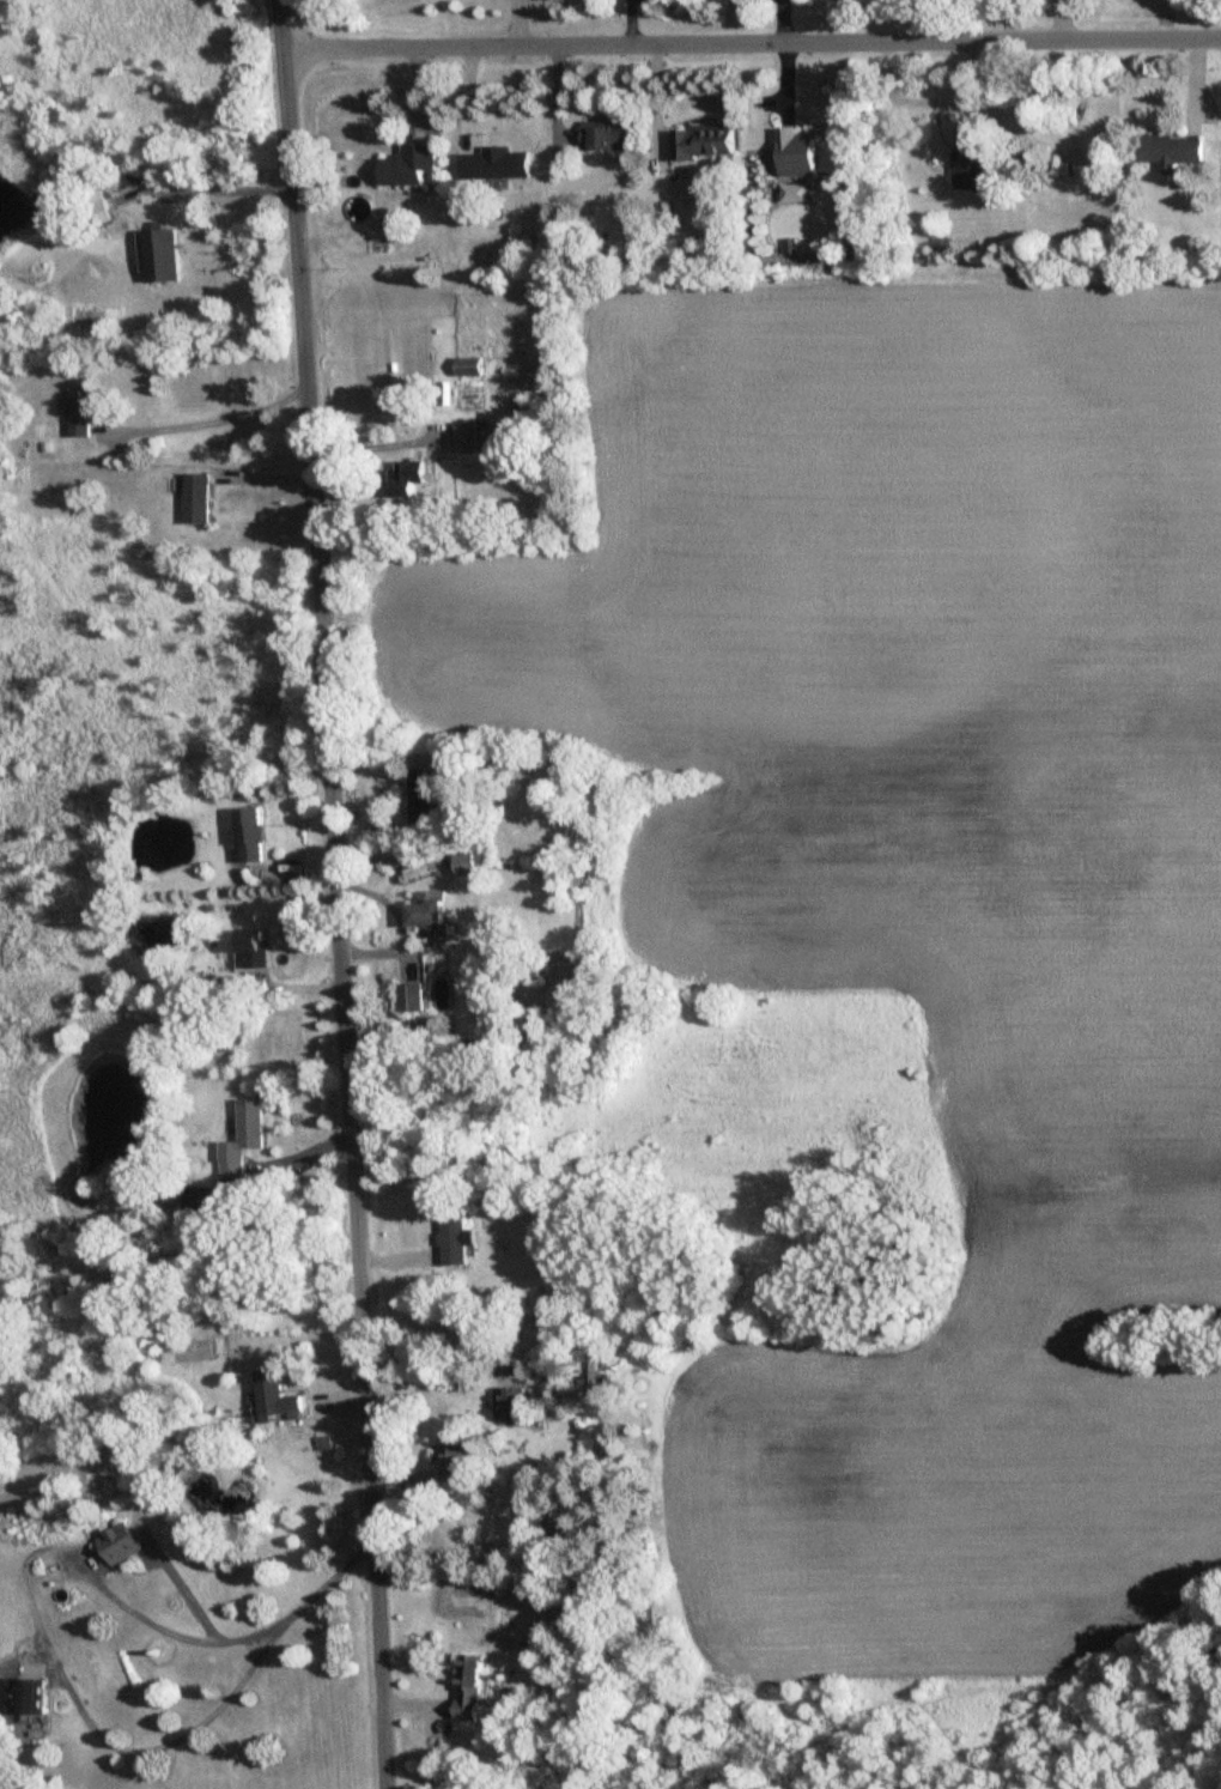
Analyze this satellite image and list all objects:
road: (752, 40)
building: (607, 138)
building: (707, 144)
building: (1176, 152)
building: (801, 154)
building: (972, 159)
building: (411, 166)
road: (227, 178)
building: (164, 257)
building: (470, 366)
road: (212, 408)
building: (85, 412)
building: (466, 437)
road: (378, 448)
building: (409, 479)
building: (200, 499)
building: (424, 800)
building: (253, 835)
building: (468, 865)
road: (341, 893)
building: (432, 912)
building: (260, 950)
building: (415, 997)
building: (254, 1124)
building: (232, 1171)
building: (203, 1200)
building: (457, 1241)
building: (588, 1373)
building: (280, 1396)
building: (510, 1405)
building: (457, 1457)
building: (126, 1544)
road: (162, 1630)
building: (470, 1688)
building: (23, 1702)
road: (206, 1721)

